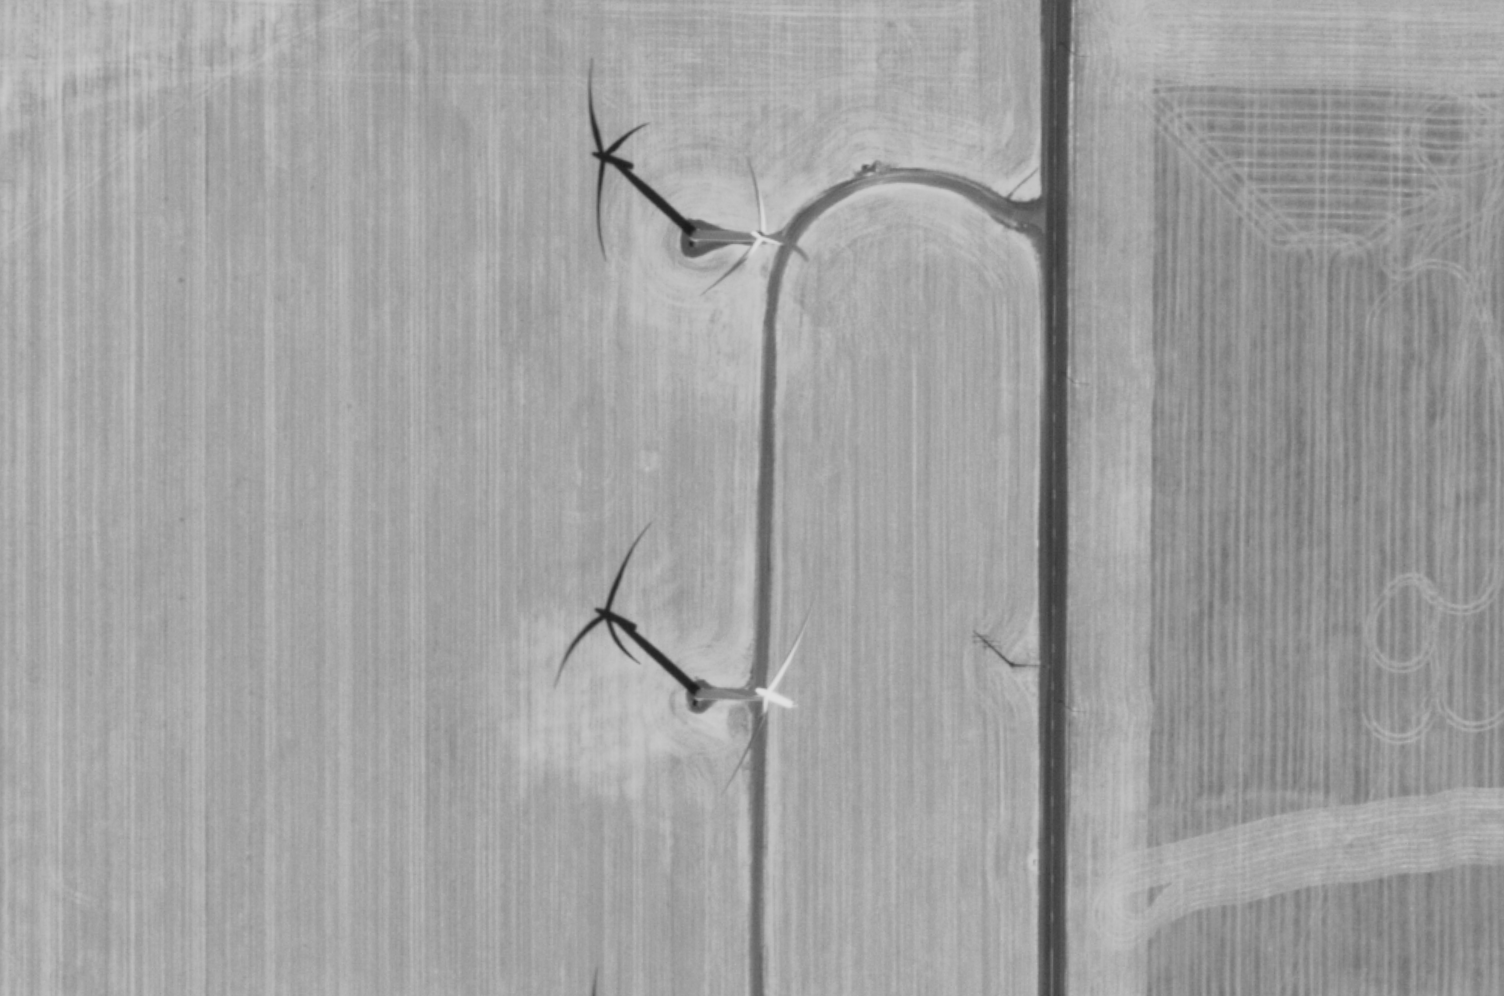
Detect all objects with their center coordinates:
wind turbine: (708, 250)
road: (759, 460)
road: (1046, 497)
power tower: (1005, 654)
wind turbine: (694, 702)

